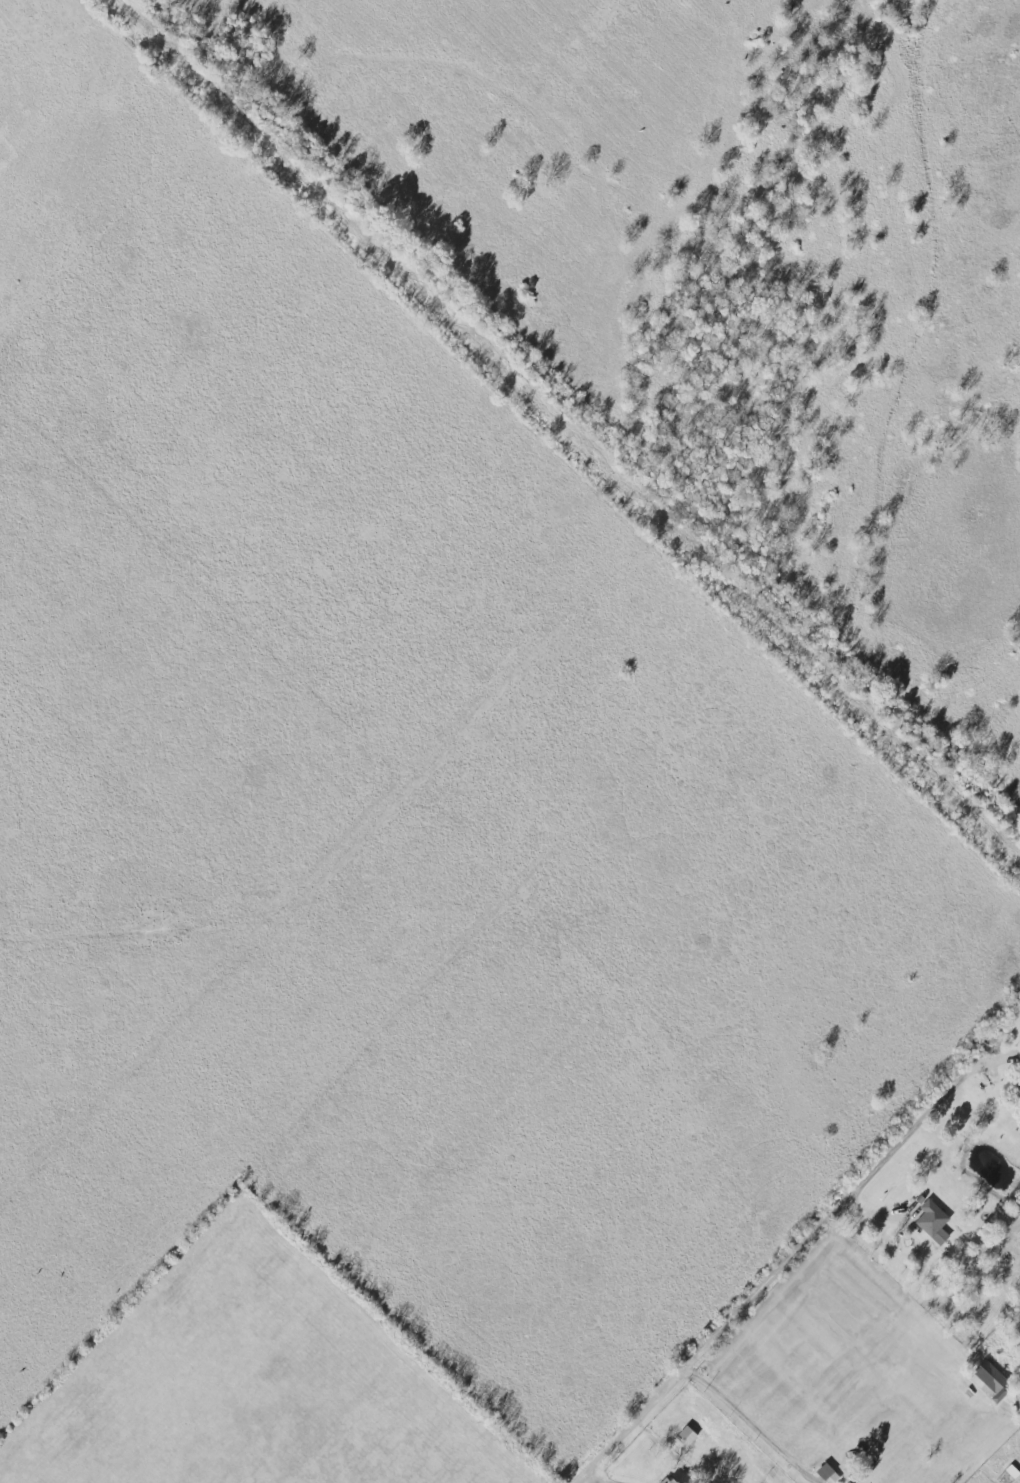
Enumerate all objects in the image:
building: (933, 1221)
road: (776, 1274)
building: (990, 1380)
road: (750, 1425)
building: (687, 1434)
building: (1012, 1470)
building: (671, 1481)

